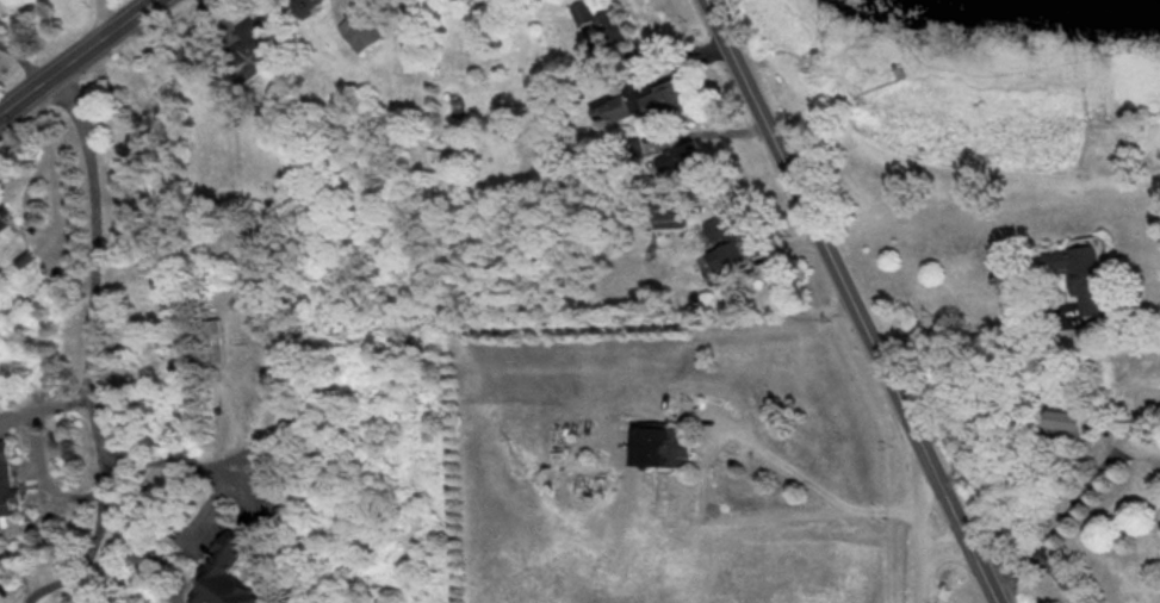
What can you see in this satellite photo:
building: (305, 7)
road: (104, 20)
building: (598, 23)
building: (358, 32)
building: (246, 50)
road: (81, 58)
road: (25, 60)
building: (664, 100)
building: (608, 113)
building: (680, 162)
road: (29, 200)
building: (2, 223)
building: (724, 243)
road: (857, 300)
road: (92, 328)
building: (211, 328)
road: (964, 335)
building: (217, 386)
building: (637, 429)
road: (726, 430)
road: (1083, 493)
road: (923, 516)
road: (947, 542)
road: (1044, 561)

